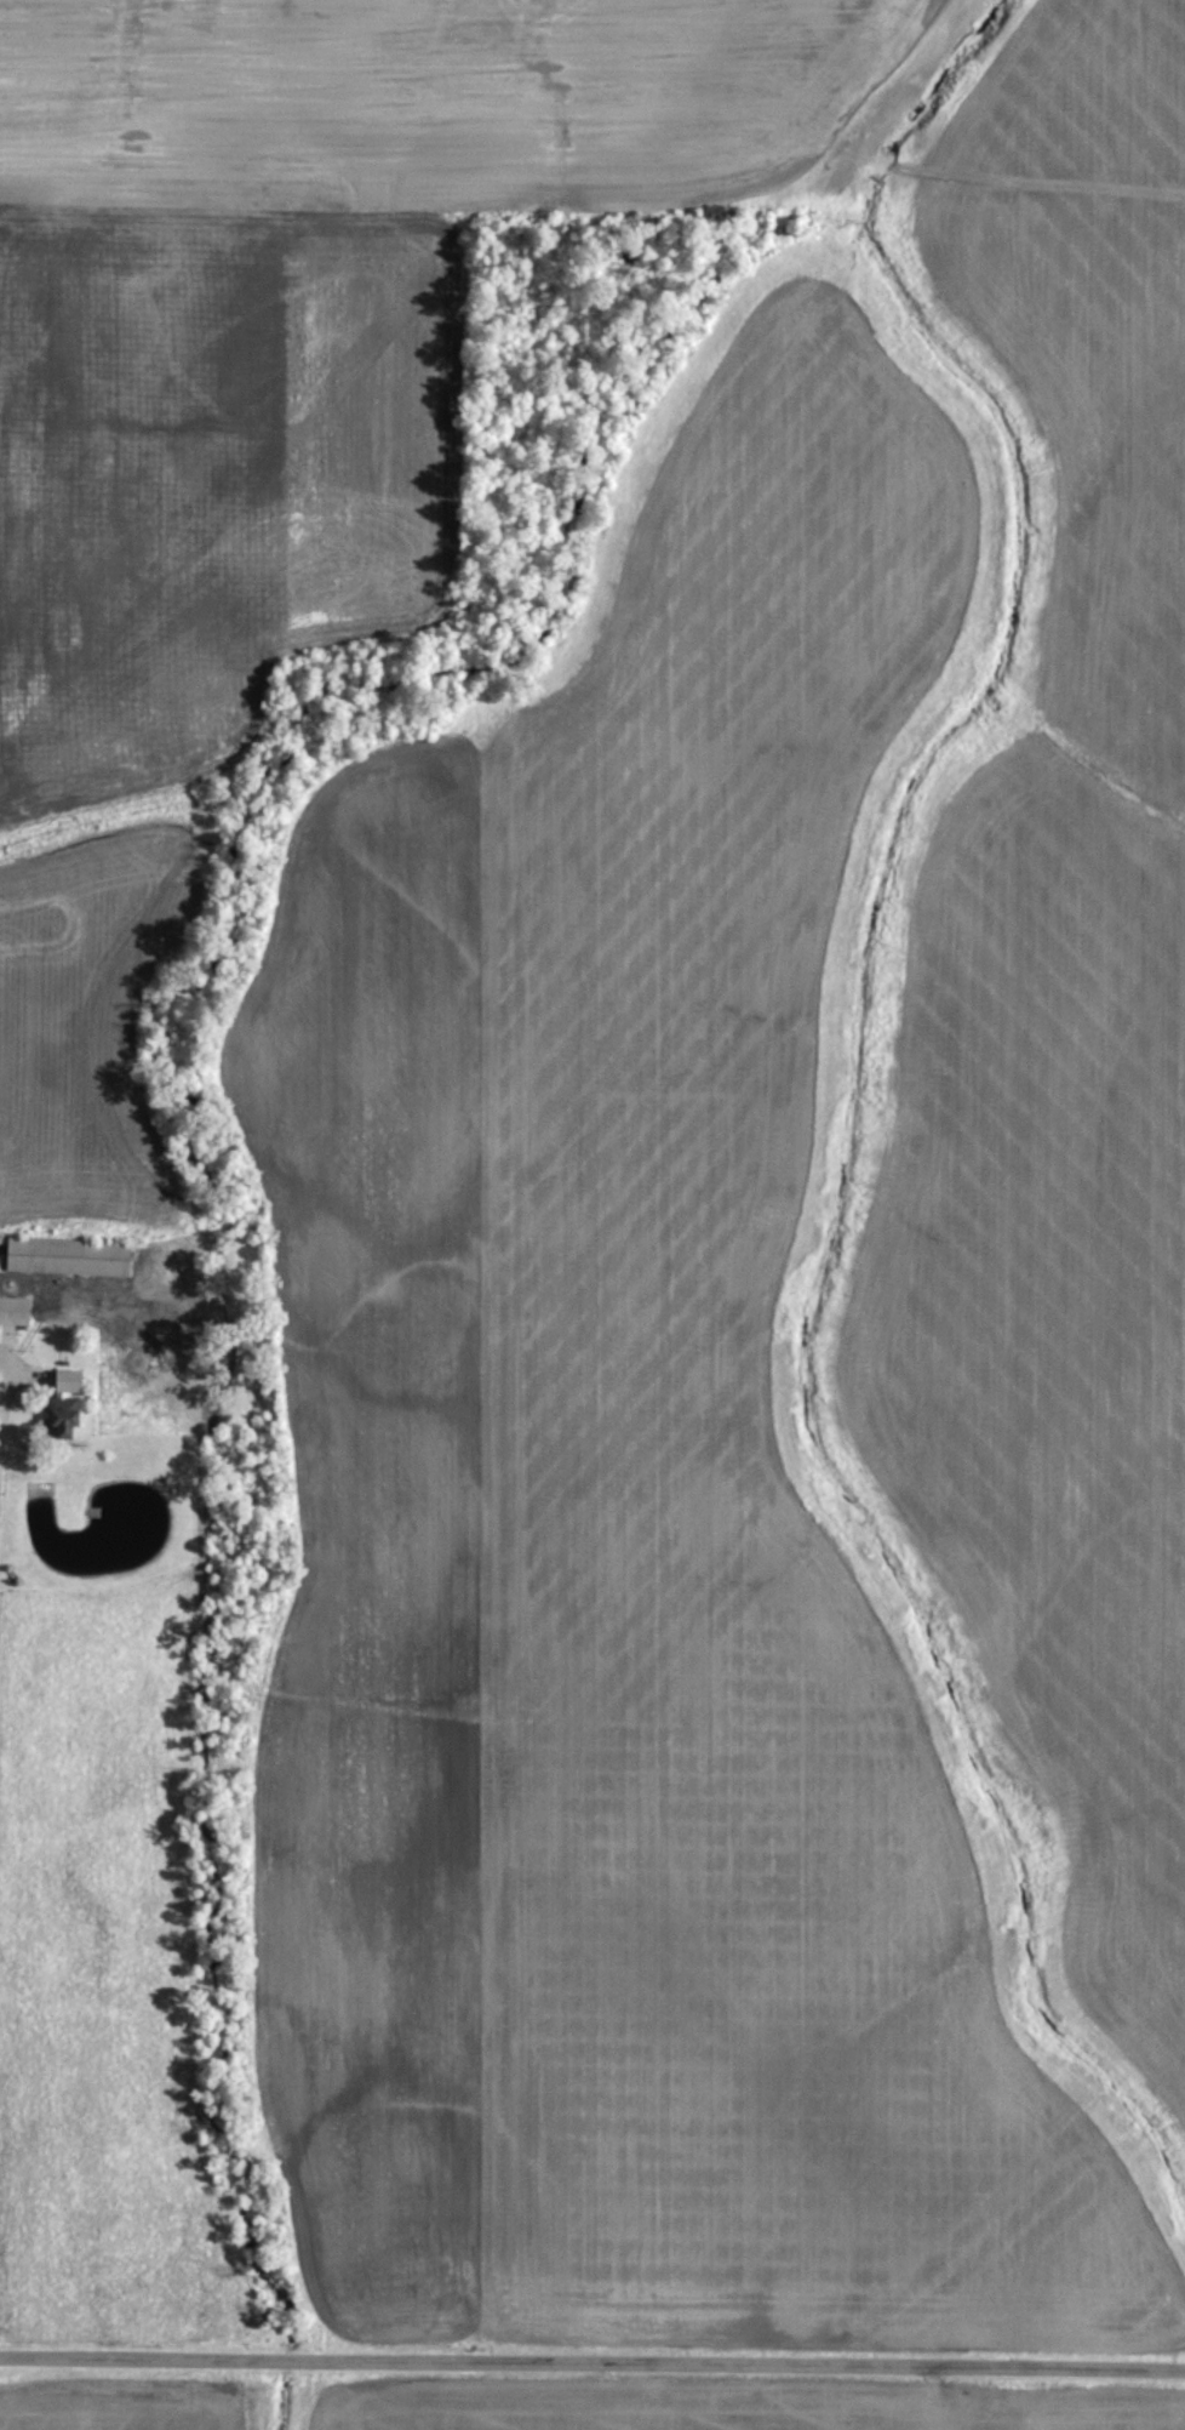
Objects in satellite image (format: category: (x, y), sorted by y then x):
building: (70, 1254)
building: (16, 1307)
building: (71, 1376)
road: (592, 2349)

